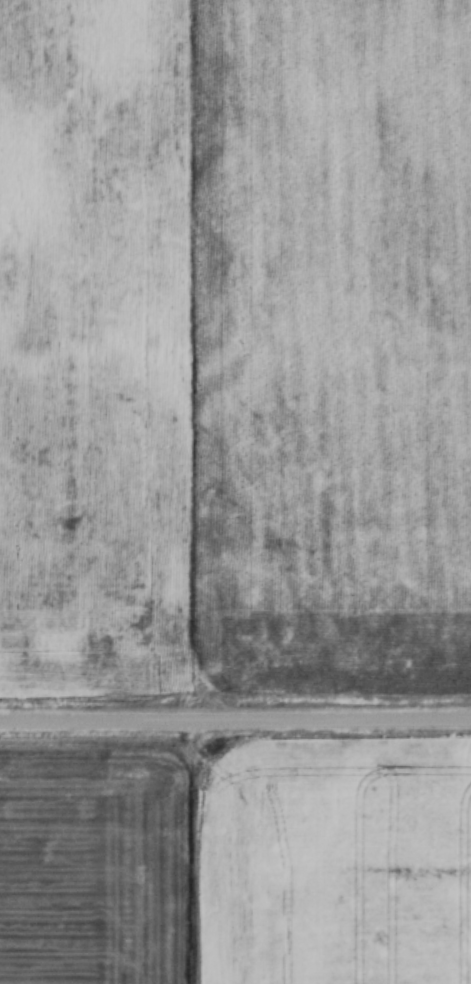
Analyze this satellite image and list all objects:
road: (235, 721)

